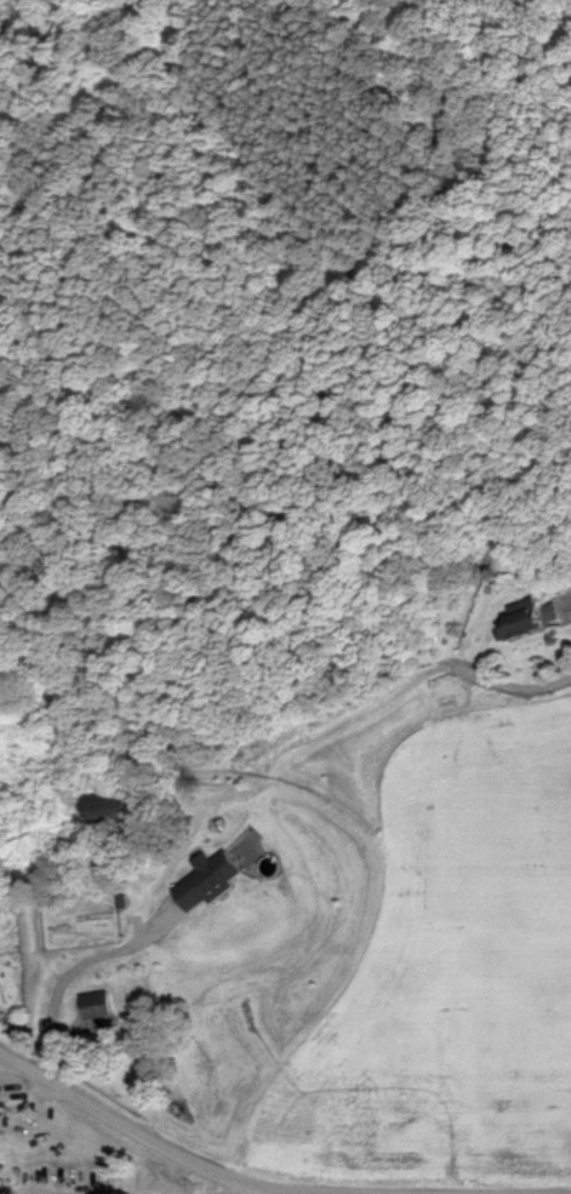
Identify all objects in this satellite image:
building: (523, 618)
building: (108, 810)
building: (210, 879)
building: (96, 1005)
road: (267, 1187)

